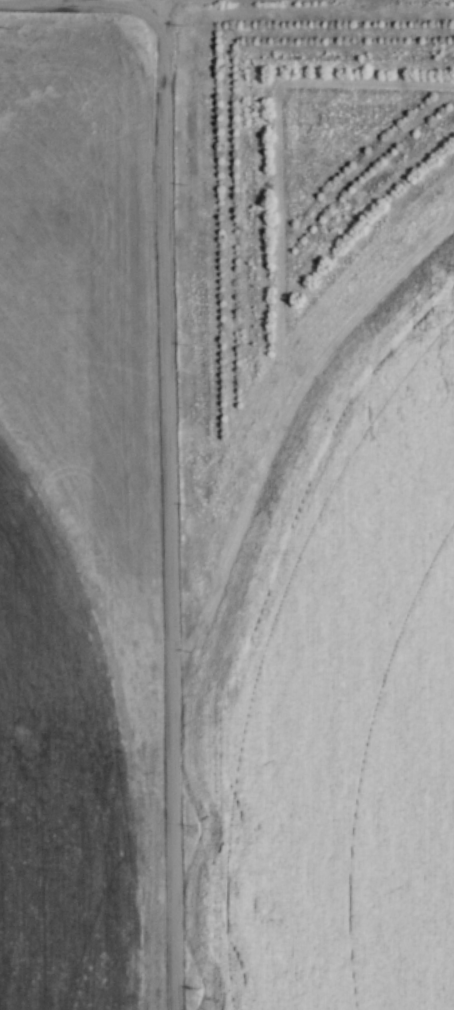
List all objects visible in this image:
road: (90, 2)
road: (169, 512)
crop: (77, 524)
crop: (336, 693)

